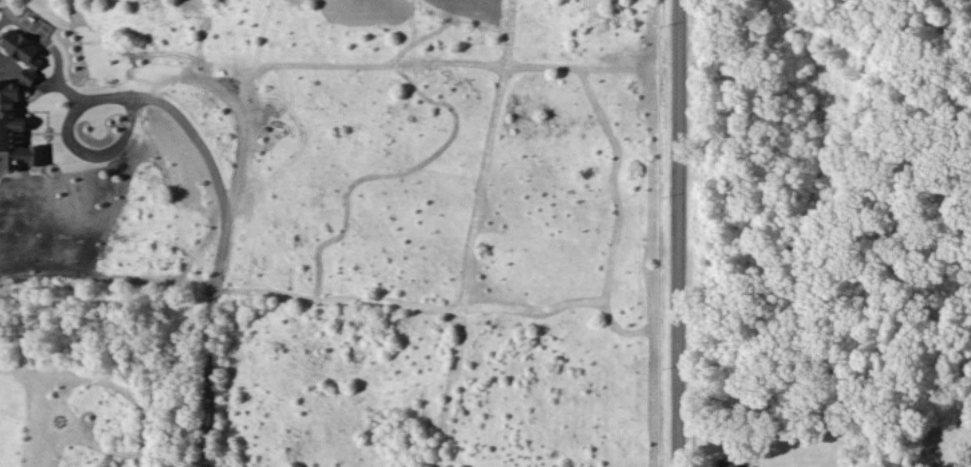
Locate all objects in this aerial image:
building: (11, 92)
road: (234, 101)
road: (208, 169)
road: (679, 233)
building: (729, 462)

